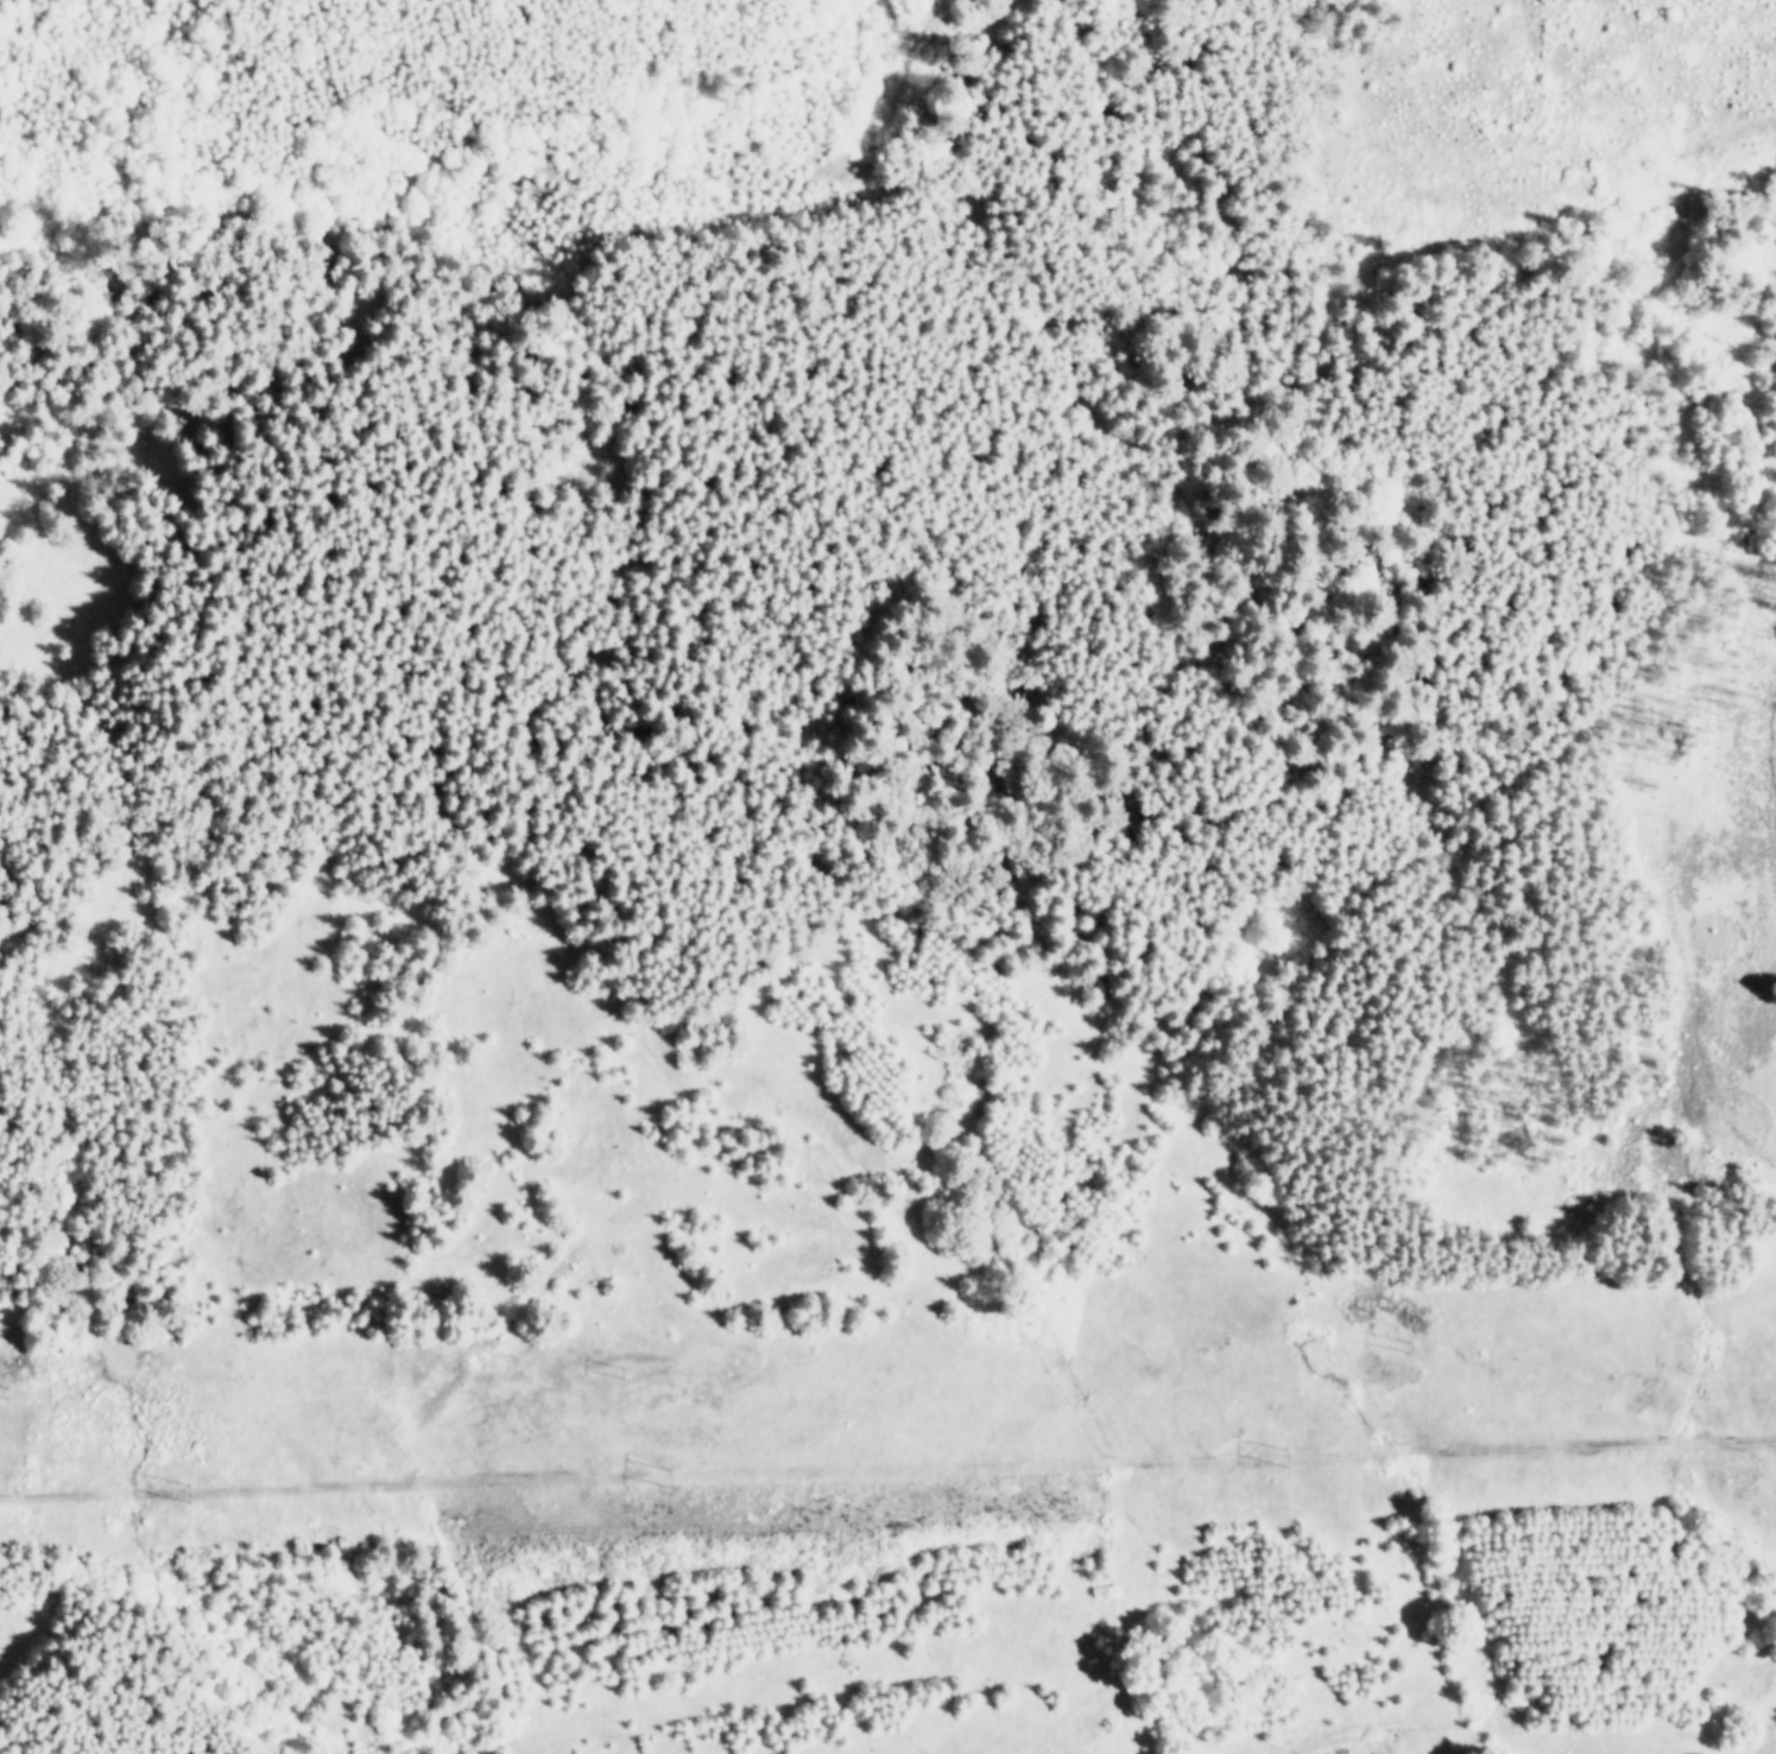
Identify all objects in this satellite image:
power tower: (1285, 1462)
power tower: (666, 1478)
power tower: (185, 1494)

